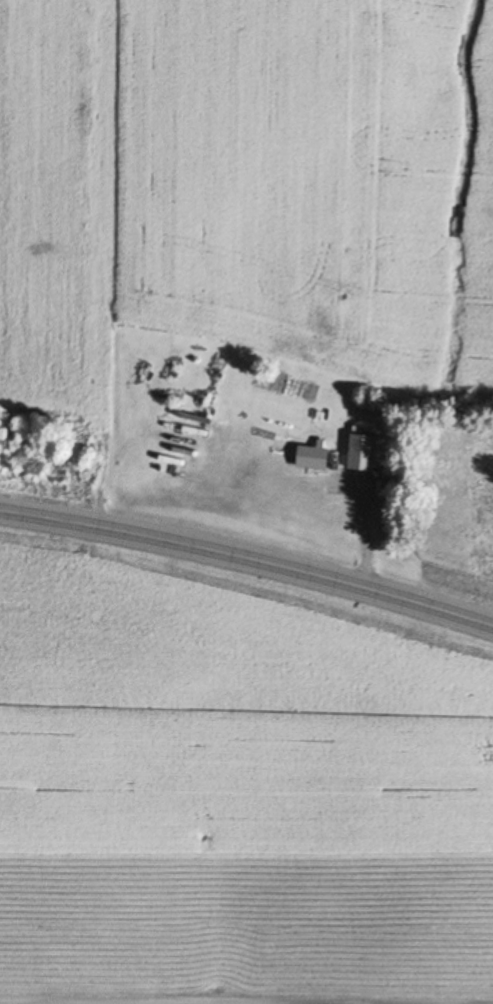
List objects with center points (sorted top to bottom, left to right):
building: (364, 454)
building: (314, 458)
road: (249, 553)
road: (24, 1003)

